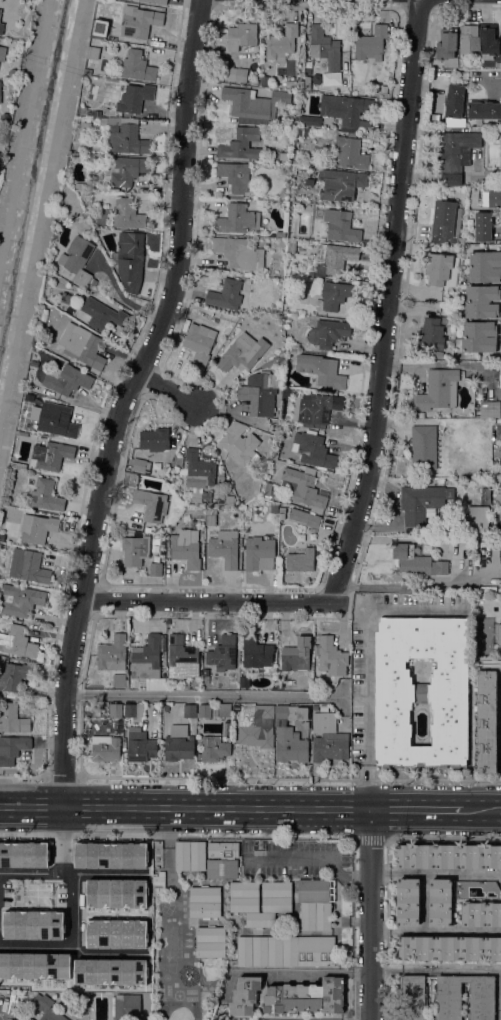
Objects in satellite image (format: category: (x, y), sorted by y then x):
building: (1, 0)
building: (99, 1)
building: (156, 1)
building: (0, 11)
building: (24, 17)
building: (138, 21)
building: (101, 27)
building: (1, 28)
building: (241, 35)
building: (469, 37)
building: (489, 39)
building: (281, 43)
building: (371, 43)
building: (324, 47)
building: (447, 47)
building: (92, 52)
building: (2, 53)
building: (497, 65)
building: (137, 66)
building: (88, 71)
building: (307, 71)
building: (234, 73)
road: (487, 76)
building: (330, 78)
building: (264, 80)
building: (253, 82)
building: (307, 83)
building: (0, 88)
building: (134, 98)
building: (454, 100)
building: (253, 104)
building: (347, 109)
building: (484, 109)
building: (309, 120)
building: (303, 131)
building: (125, 135)
building: (82, 136)
building: (240, 144)
building: (350, 151)
building: (455, 153)
building: (127, 171)
building: (234, 175)
building: (309, 181)
building: (341, 183)
building: (79, 186)
building: (491, 198)
building: (127, 214)
building: (236, 218)
building: (446, 219)
building: (340, 226)
building: (483, 226)
building: (280, 234)
building: (291, 247)
building: (239, 253)
building: (333, 258)
building: (77, 259)
building: (129, 259)
building: (484, 266)
building: (441, 269)
building: (310, 275)
building: (93, 282)
building: (225, 294)
building: (335, 294)
building: (482, 301)
road: (386, 302)
building: (102, 314)
building: (185, 325)
building: (327, 334)
building: (431, 334)
building: (479, 337)
building: (199, 342)
building: (81, 345)
building: (242, 354)
building: (422, 355)
building: (324, 371)
building: (499, 375)
building: (67, 380)
road: (168, 389)
building: (438, 390)
building: (258, 394)
building: (285, 396)
road: (125, 399)
building: (318, 409)
building: (489, 409)
building: (421, 414)
building: (54, 419)
building: (28, 426)
building: (498, 432)
building: (21, 433)
building: (154, 439)
building: (240, 447)
building: (423, 447)
building: (312, 449)
building: (275, 452)
building: (50, 455)
building: (178, 461)
building: (18, 465)
building: (140, 465)
building: (198, 473)
building: (221, 477)
building: (303, 487)
building: (267, 489)
building: (46, 495)
building: (484, 495)
building: (229, 500)
building: (500, 501)
building: (422, 502)
building: (151, 505)
building: (281, 508)
building: (239, 514)
building: (210, 517)
building: (303, 517)
building: (478, 519)
building: (37, 528)
building: (130, 532)
building: (2, 537)
building: (224, 547)
building: (186, 548)
building: (134, 550)
building: (257, 551)
building: (301, 560)
building: (410, 560)
building: (28, 566)
building: (441, 567)
building: (155, 569)
road: (419, 586)
building: (20, 600)
road: (208, 600)
building: (498, 634)
building: (17, 642)
building: (162, 647)
building: (256, 652)
building: (222, 653)
building: (112, 654)
building: (296, 655)
building: (181, 658)
building: (331, 658)
building: (3, 659)
road: (366, 662)
building: (147, 663)
building: (14, 676)
building: (119, 680)
building: (243, 682)
building: (186, 685)
building: (279, 686)
building: (421, 691)
road: (201, 696)
building: (315, 707)
building: (115, 710)
building: (133, 710)
building: (224, 710)
building: (189, 711)
building: (204, 711)
building: (291, 712)
building: (12, 719)
building: (192, 722)
building: (319, 722)
building: (486, 722)
building: (305, 725)
building: (258, 728)
building: (178, 730)
building: (139, 745)
building: (290, 745)
building: (330, 746)
building: (12, 748)
building: (105, 748)
building: (178, 748)
building: (213, 749)
road: (33, 806)
road: (283, 808)
building: (23, 854)
building: (110, 855)
building: (156, 855)
building: (190, 855)
building: (449, 856)
building: (222, 859)
parking lot: (294, 859)
road: (337, 864)
road: (70, 873)
road: (435, 873)
road: (67, 876)
road: (353, 878)
building: (159, 885)
building: (477, 890)
building: (116, 893)
building: (244, 897)
building: (204, 902)
building: (406, 902)
building: (441, 902)
building: (315, 903)
road: (370, 914)
building: (481, 914)
building: (32, 924)
road: (435, 931)
building: (115, 933)
road: (353, 935)
building: (210, 942)
road: (37, 946)
building: (448, 948)
building: (285, 950)
building: (34, 965)
road: (385, 968)
road: (474, 969)
building: (110, 971)
road: (315, 974)
building: (481, 994)
building: (245, 995)
building: (305, 997)
building: (413, 997)
building: (11, 1002)
building: (127, 1006)
building: (40, 1010)
building: (205, 1018)

